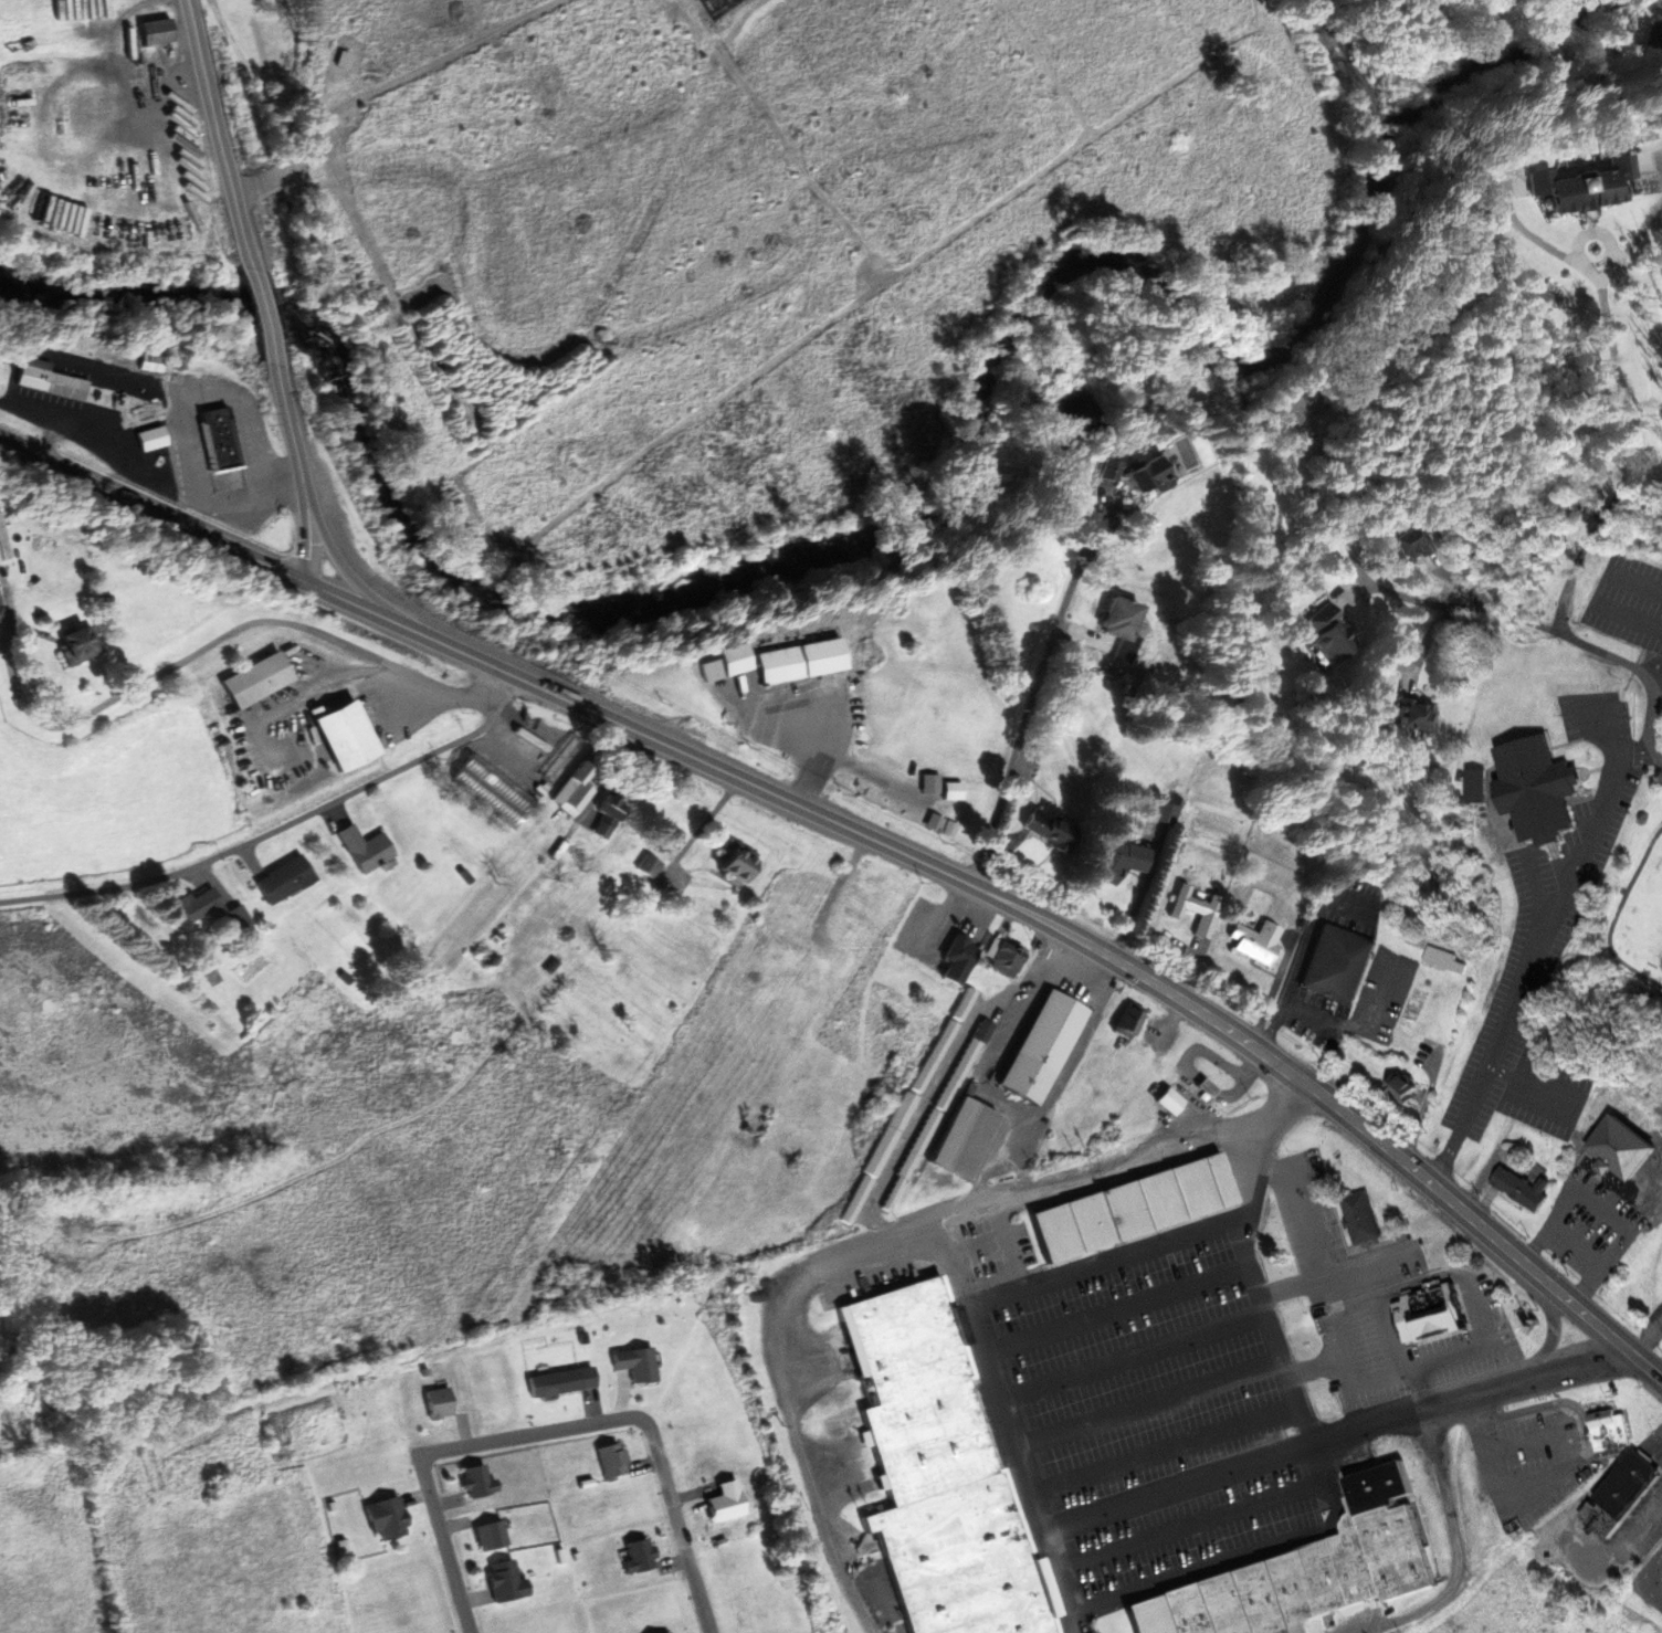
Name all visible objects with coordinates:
road: (696, 24)
building: (159, 29)
road: (398, 85)
road: (224, 131)
building: (1587, 182)
road: (267, 315)
building: (271, 330)
building: (152, 360)
building: (51, 377)
building: (102, 396)
building: (150, 412)
building: (221, 439)
building: (1112, 467)
road: (305, 471)
building: (1151, 473)
road: (101, 486)
building: (3, 539)
building: (1412, 542)
road: (1586, 542)
river: (824, 554)
road: (358, 581)
road: (1597, 592)
building: (0, 597)
road: (1405, 597)
parking lot: (1627, 600)
building: (3, 614)
building: (1122, 617)
building: (1330, 631)
road: (220, 638)
building: (78, 644)
building: (738, 656)
building: (804, 661)
road: (1656, 673)
building: (259, 676)
road: (299, 692)
road: (1029, 710)
building: (1419, 714)
building: (349, 734)
road: (1639, 755)
building: (1475, 783)
building: (1538, 788)
building: (576, 789)
building: (1168, 811)
building: (608, 816)
building: (1051, 825)
road: (280, 826)
building: (368, 845)
building: (738, 854)
building: (1125, 860)
building: (651, 865)
building: (469, 874)
building: (286, 878)
road: (975, 884)
building: (201, 903)
building: (1197, 907)
building: (241, 912)
building: (1259, 938)
parking lot: (1543, 954)
road: (1536, 955)
building: (960, 957)
building: (1008, 958)
building: (1443, 960)
building: (1337, 963)
building: (1129, 1022)
building: (1044, 1047)
road: (946, 1073)
building: (1211, 1088)
building: (1399, 1088)
building: (909, 1106)
building: (937, 1116)
building: (967, 1139)
road: (1262, 1152)
building: (1523, 1188)
building: (1605, 1201)
building: (1136, 1207)
building: (1359, 1218)
road: (1010, 1243)
road: (855, 1253)
road: (1112, 1255)
road: (1387, 1255)
road: (1292, 1285)
road: (1114, 1289)
road: (1354, 1300)
parking lot: (1386, 1302)
building: (1429, 1313)
road: (1124, 1324)
road: (1384, 1336)
road: (1272, 1339)
road: (1648, 1341)
road: (1137, 1366)
road: (1315, 1367)
road: (1388, 1378)
road: (1423, 1389)
road: (1470, 1397)
road: (1148, 1400)
parking lot: (1159, 1404)
road: (1350, 1409)
road: (1008, 1412)
road: (643, 1420)
building: (1608, 1427)
road: (1161, 1443)
parking lot: (1529, 1460)
road: (1316, 1469)
building: (938, 1473)
road: (1176, 1487)
road: (1532, 1492)
building: (1619, 1494)
road: (1191, 1536)
road: (448, 1544)
road: (1455, 1548)
road: (1219, 1563)
parking lot: (1651, 1568)
building: (1307, 1569)
building: (507, 1582)
road: (1072, 1622)

